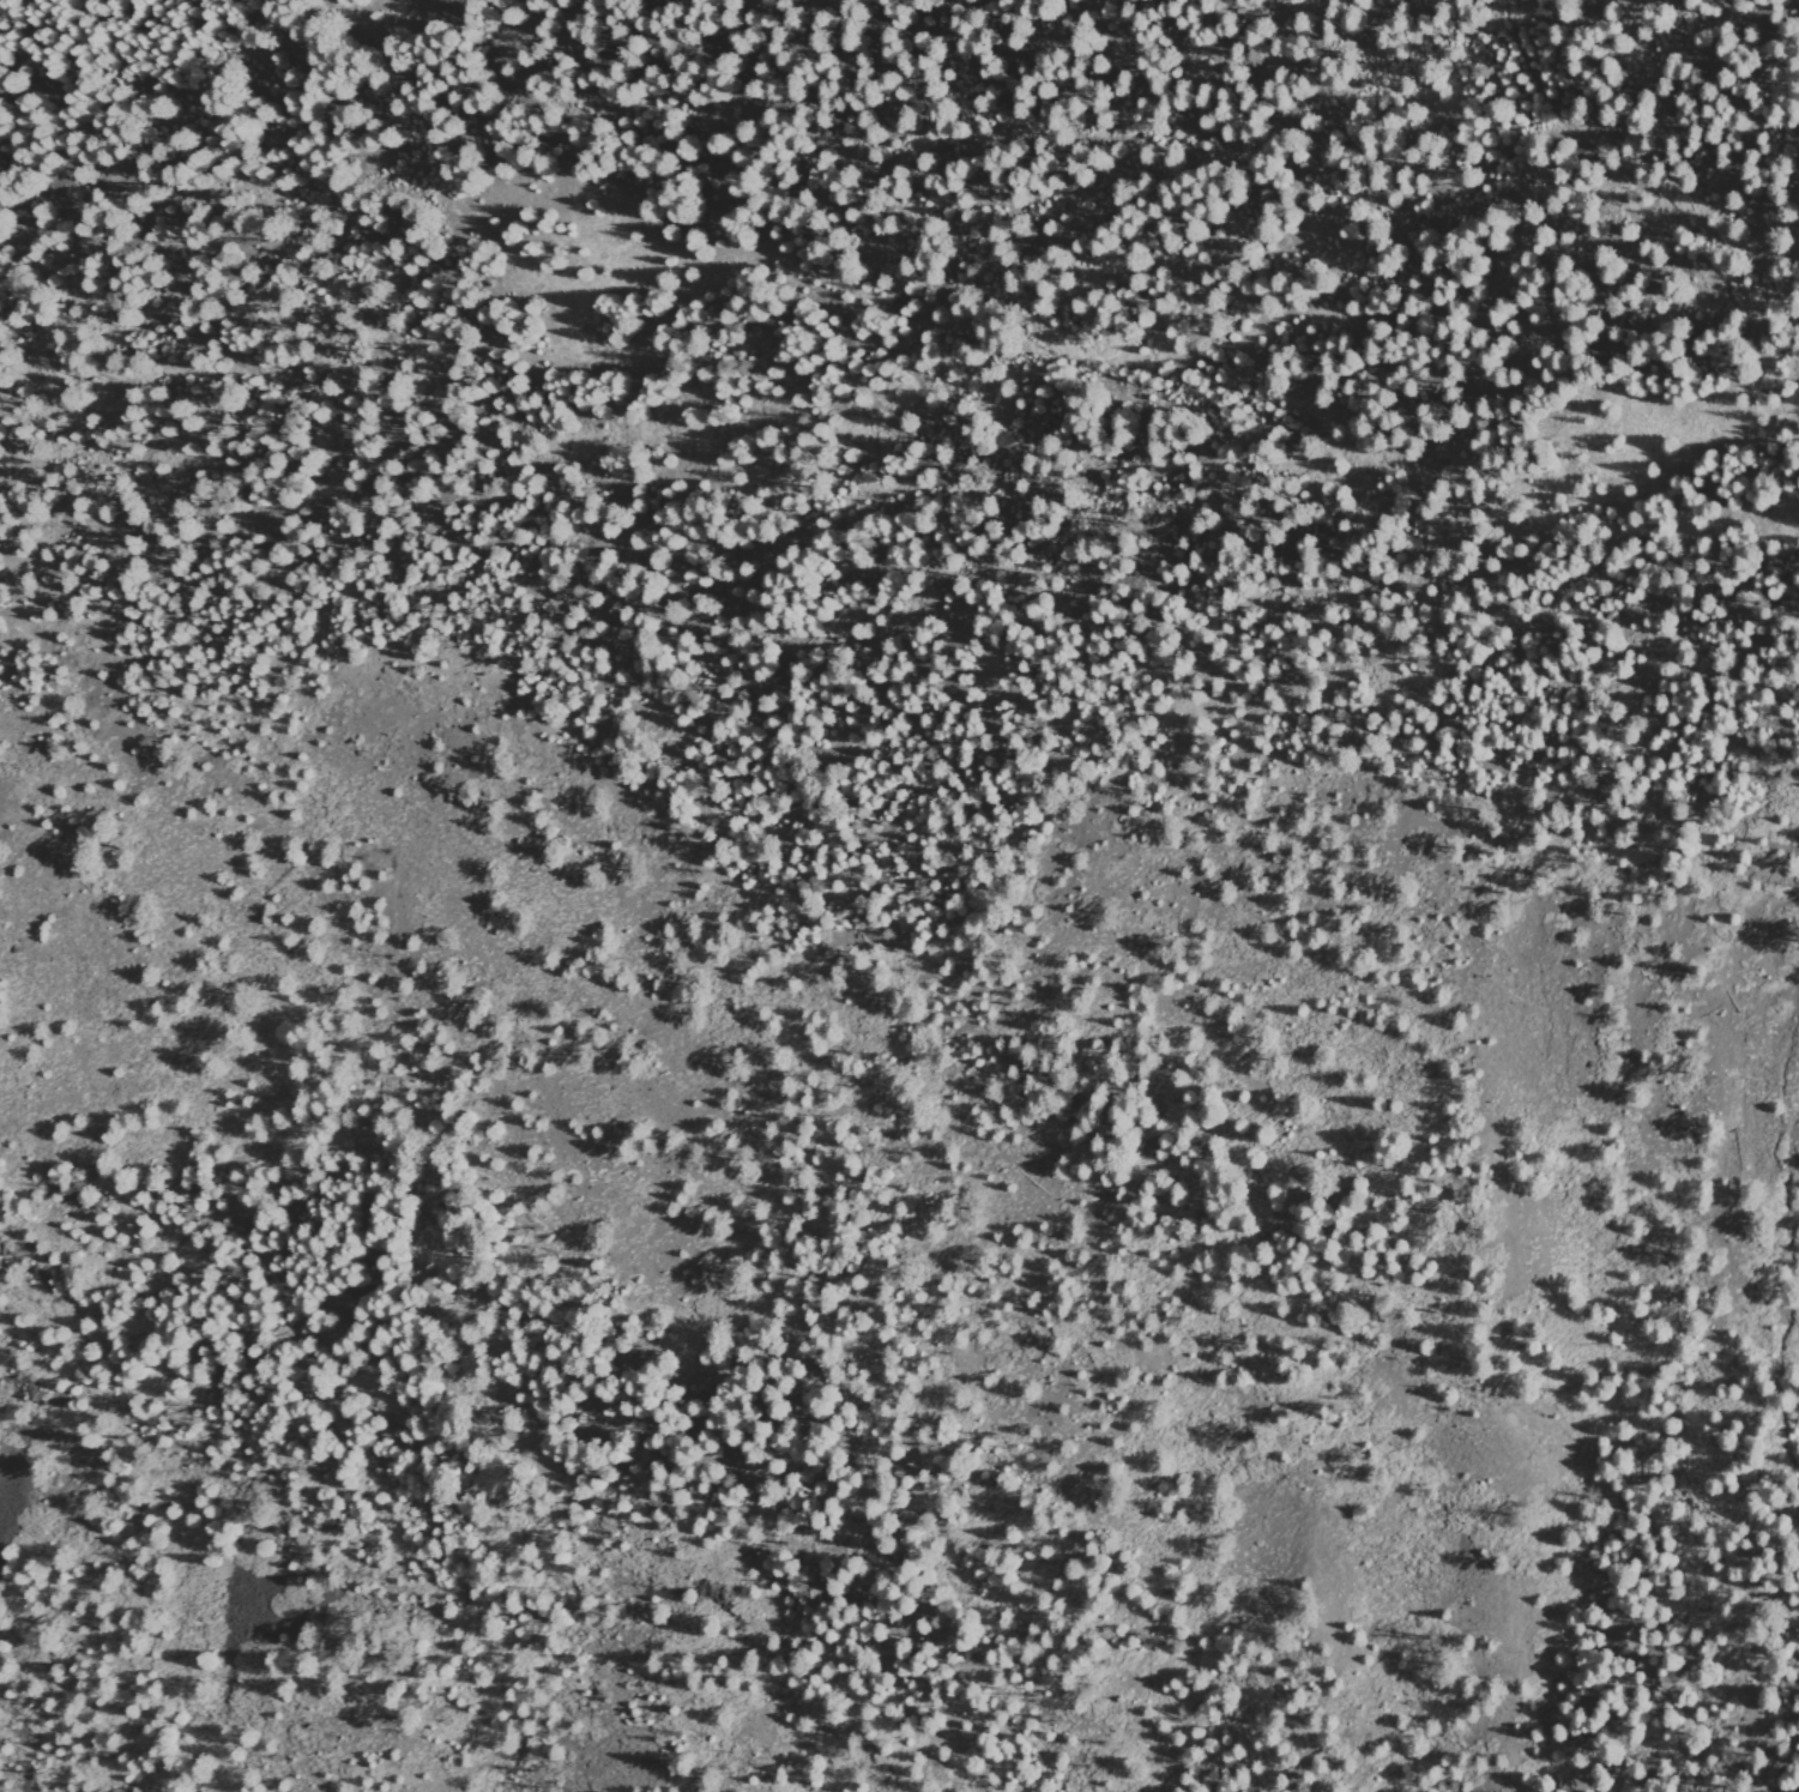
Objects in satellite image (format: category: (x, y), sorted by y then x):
road: (1638, 194)

